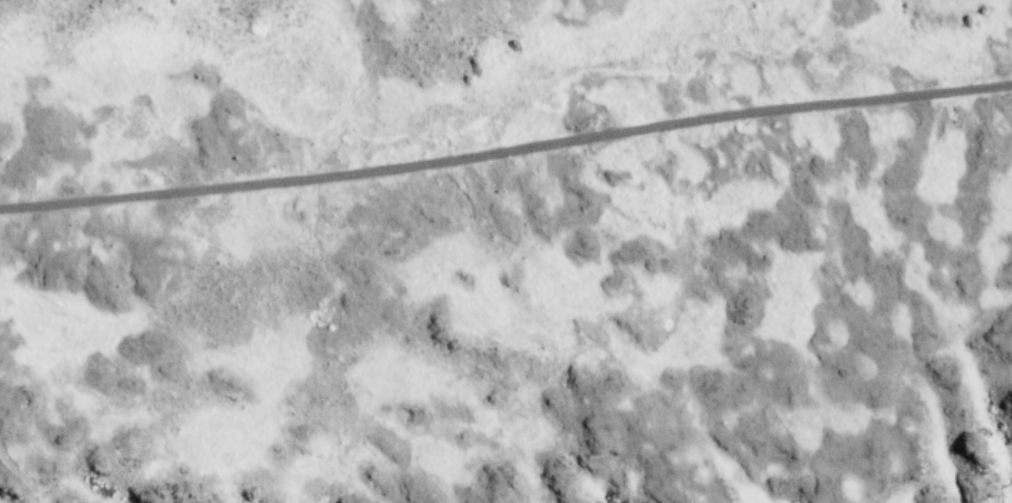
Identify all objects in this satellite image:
road: (506, 152)

